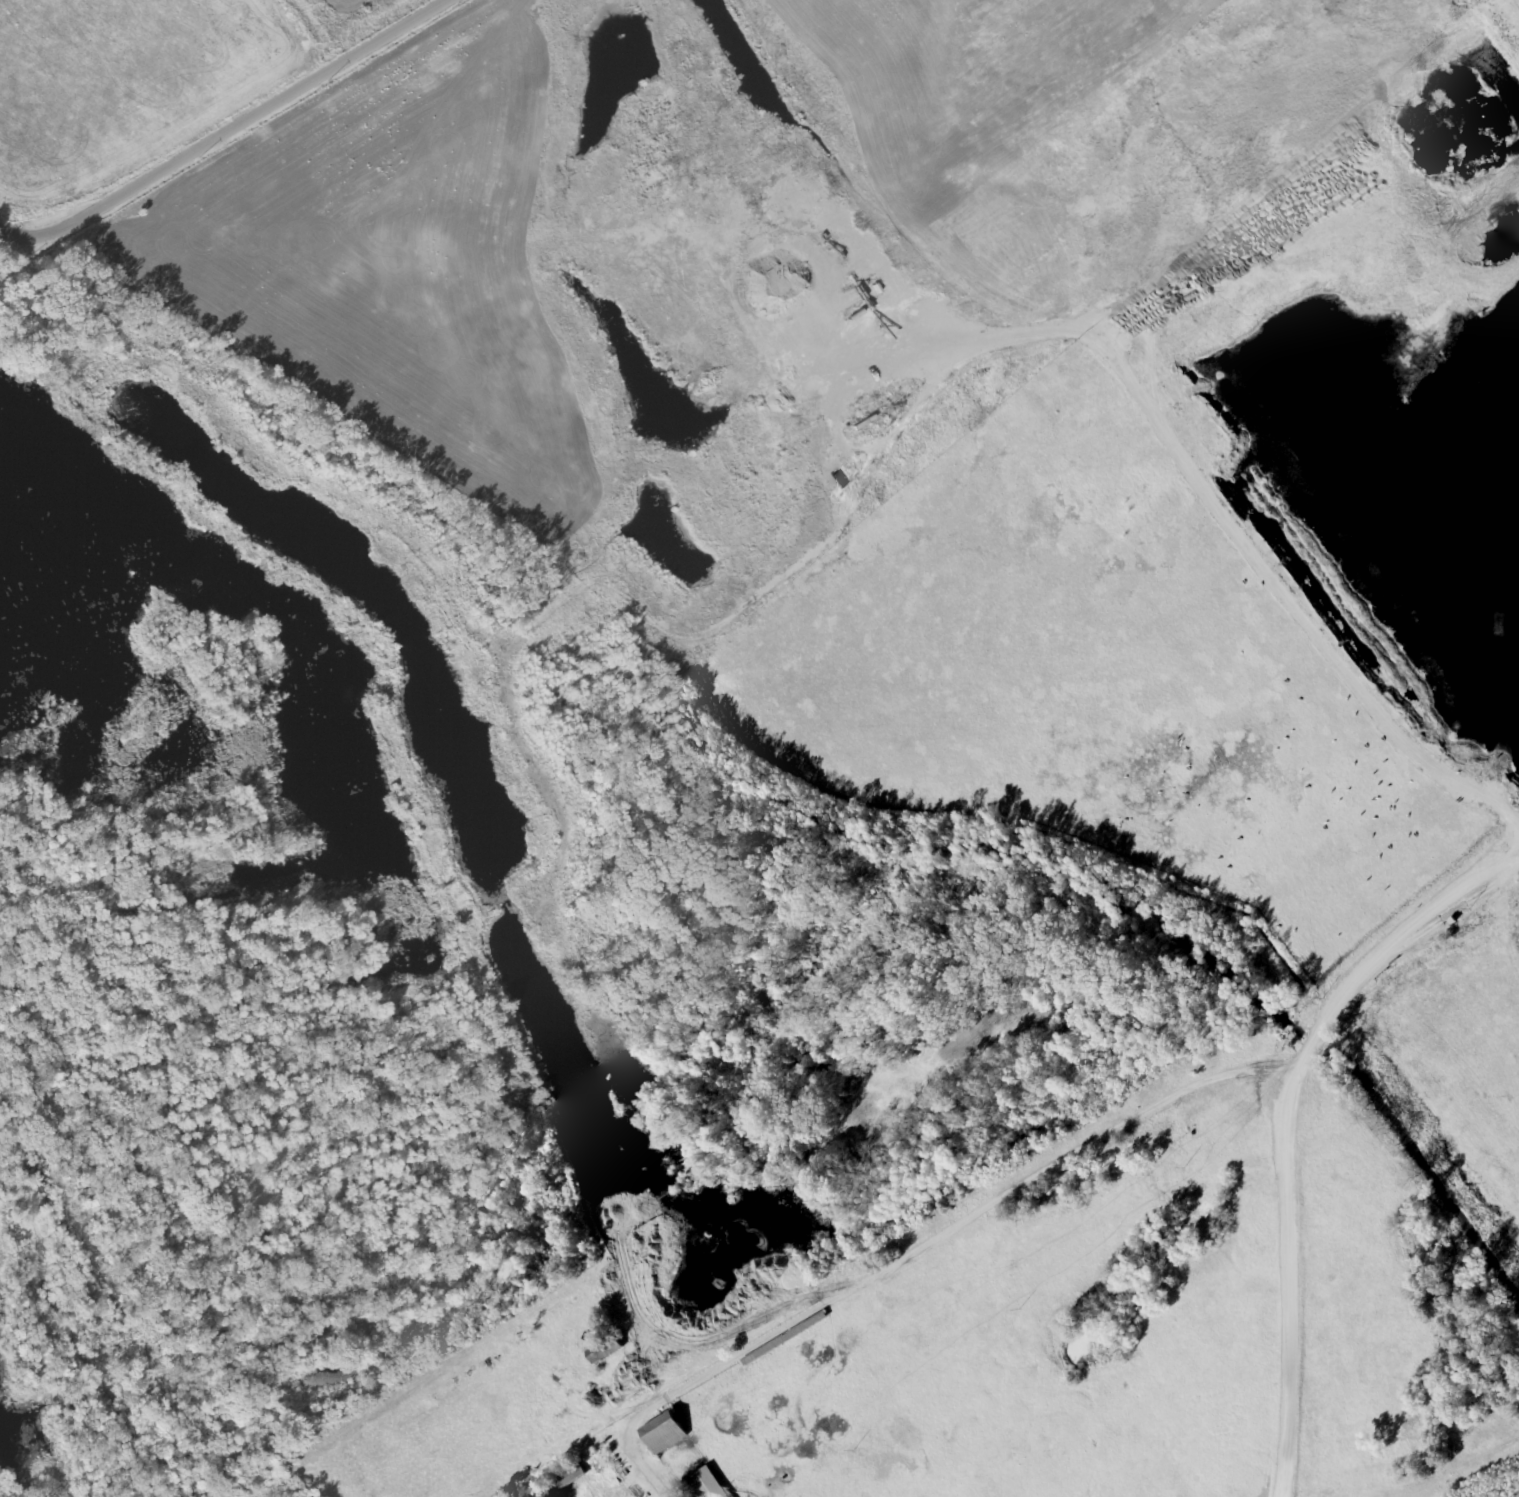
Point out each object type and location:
road: (229, 132)
building: (865, 422)
building: (662, 1433)
building: (545, 1494)

